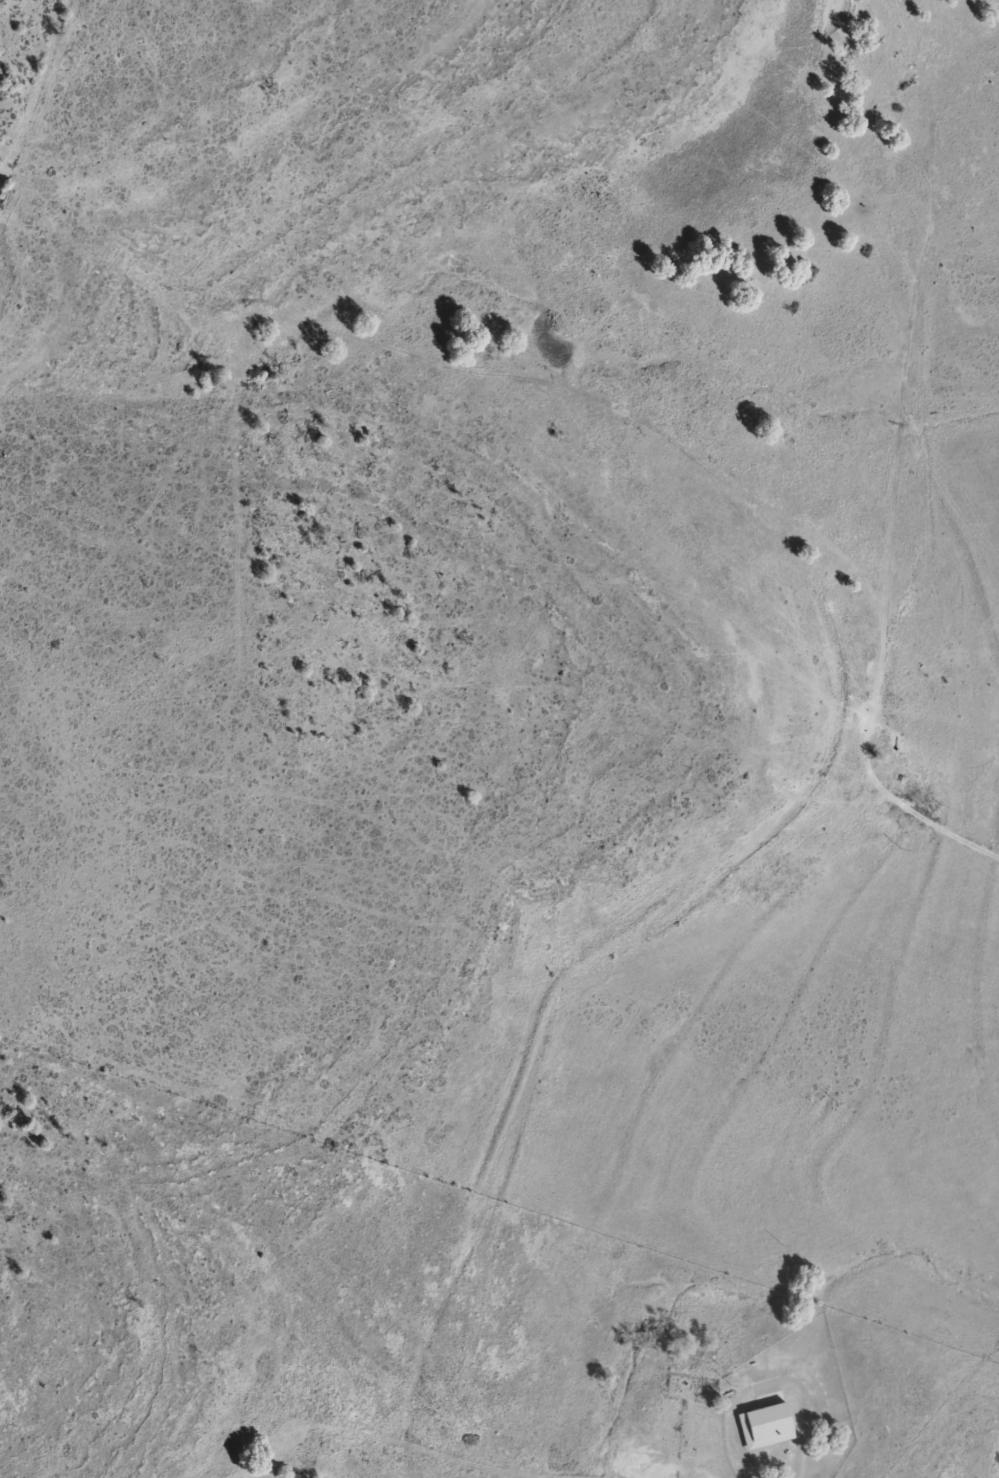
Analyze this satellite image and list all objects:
building: (767, 1425)
road: (875, 1465)

